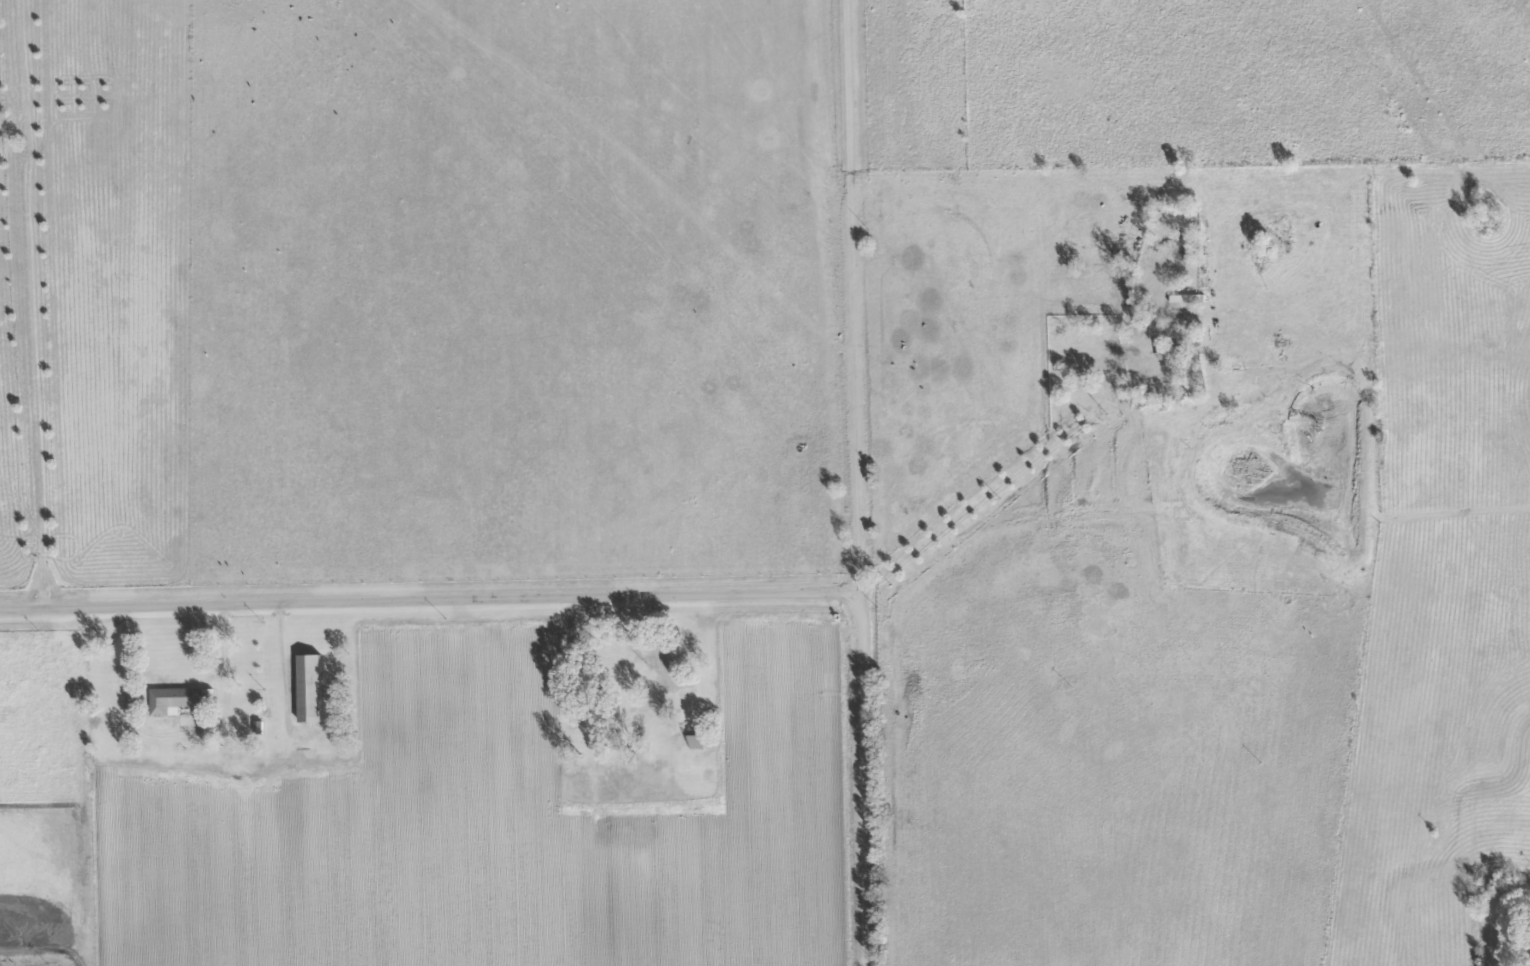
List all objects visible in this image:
road: (854, 300)
road: (996, 473)
road: (612, 593)
road: (227, 653)
building: (312, 689)
building: (175, 701)
road: (1496, 917)

